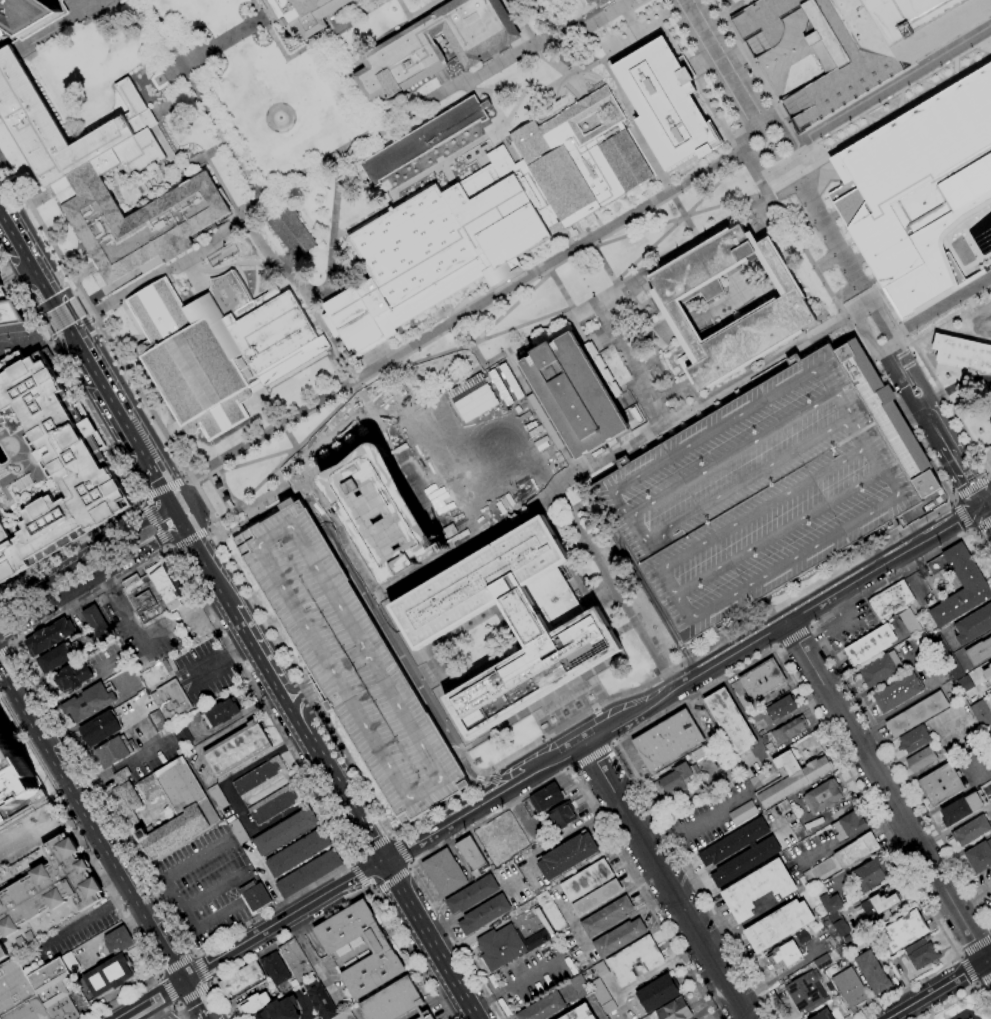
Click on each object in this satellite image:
building: (588, 1)
building: (601, 2)
road: (402, 10)
road: (425, 10)
building: (26, 14)
building: (304, 14)
building: (57, 17)
road: (81, 17)
road: (521, 21)
road: (587, 24)
road: (64, 26)
road: (665, 36)
road: (224, 40)
building: (861, 40)
building: (435, 45)
road: (305, 47)
road: (6, 53)
park: (346, 61)
road: (549, 61)
road: (719, 61)
road: (891, 85)
road: (347, 87)
road: (517, 90)
road: (197, 99)
building: (663, 100)
road: (173, 102)
road: (898, 113)
fountain: (278, 118)
road: (714, 123)
road: (632, 124)
building: (128, 127)
road: (849, 127)
building: (424, 139)
fountain: (769, 146)
road: (704, 170)
road: (308, 171)
road: (782, 182)
building: (917, 190)
road: (682, 215)
road: (678, 217)
road: (679, 219)
building: (484, 221)
building: (139, 222)
road: (826, 231)
building: (291, 232)
road: (801, 246)
road: (604, 265)
road: (14, 269)
road: (326, 279)
road: (561, 290)
road: (835, 290)
road: (852, 290)
road: (329, 291)
road: (857, 295)
road: (884, 301)
road: (942, 303)
building: (8, 311)
building: (781, 311)
road: (851, 311)
road: (66, 314)
road: (842, 314)
traffic signals: (62, 317)
road: (901, 329)
road: (853, 331)
road: (71, 333)
street lamp: (25, 334)
road: (430, 334)
street lamp: (8, 336)
road: (327, 336)
road: (21, 337)
road: (846, 337)
road: (475, 338)
road: (59, 347)
road: (886, 347)
road: (454, 348)
road: (511, 351)
building: (220, 352)
building: (962, 353)
road: (2, 354)
road: (477, 355)
road: (373, 358)
road: (632, 362)
road: (379, 369)
road: (953, 387)
road: (923, 389)
road: (834, 394)
building: (573, 395)
road: (702, 401)
road: (366, 404)
road: (947, 405)
road: (970, 406)
road: (909, 407)
road: (542, 414)
road: (324, 415)
building: (888, 417)
road: (933, 425)
road: (336, 435)
road: (866, 443)
road: (294, 447)
road: (111, 451)
road: (978, 456)
road: (255, 460)
building: (55, 465)
road: (213, 469)
road: (761, 469)
road: (962, 476)
road: (265, 477)
road: (157, 478)
road: (990, 478)
road: (188, 479)
street lamp: (775, 484)
road: (890, 484)
road: (163, 489)
road: (972, 489)
road: (225, 490)
building: (757, 493)
parking lot: (757, 493)
street lamp: (869, 494)
road: (974, 495)
flagpole: (944, 497)
road: (141, 499)
flagpole: (944, 500)
road: (141, 501)
road: (953, 501)
road: (986, 502)
traffic signals: (172, 504)
road: (972, 504)
road: (981, 504)
traffic signals: (981, 505)
road: (766, 507)
road: (236, 508)
building: (380, 512)
road: (192, 513)
road: (985, 513)
road: (963, 514)
road: (178, 517)
road: (501, 518)
flagpole: (246, 521)
road: (156, 522)
street lamp: (713, 522)
road: (981, 523)
street lamp: (813, 524)
road: (209, 527)
flagpole: (238, 527)
traffic signals: (184, 530)
road: (970, 530)
flagpole: (230, 531)
road: (780, 532)
road: (912, 534)
road: (642, 535)
road: (190, 538)
road: (217, 540)
road: (170, 546)
street lamp: (285, 547)
road: (876, 547)
road: (173, 548)
road: (146, 550)
road: (86, 554)
street lamp: (760, 555)
road: (795, 558)
road: (205, 569)
road: (614, 578)
road: (671, 580)
building: (971, 581)
street lamp: (306, 582)
building: (166, 585)
street lamp: (706, 586)
road: (800, 594)
building: (143, 597)
road: (650, 598)
building: (890, 600)
road: (54, 603)
road: (686, 606)
building: (909, 622)
building: (96, 623)
parking lot: (844, 625)
building: (973, 625)
road: (810, 627)
road: (231, 628)
road: (4, 630)
building: (564, 631)
building: (49, 636)
road: (793, 636)
road: (11, 641)
road: (729, 642)
road: (754, 642)
road: (2, 644)
road: (10, 645)
building: (870, 645)
road: (776, 646)
road: (250, 647)
road: (5, 648)
road: (1, 650)
traffic signals: (6, 652)
building: (979, 652)
road: (764, 653)
building: (55, 658)
building: (943, 661)
building: (350, 662)
parking lot: (350, 662)
parking lot: (205, 668)
road: (409, 669)
building: (879, 669)
building: (155, 673)
building: (987, 674)
building: (72, 677)
road: (843, 678)
building: (762, 680)
building: (963, 684)
road: (294, 688)
building: (897, 693)
road: (300, 696)
road: (281, 700)
building: (171, 701)
building: (89, 702)
building: (784, 706)
street lamp: (381, 708)
road: (593, 709)
building: (221, 713)
building: (982, 713)
building: (916, 715)
building: (730, 721)
building: (158, 722)
road: (601, 726)
building: (100, 728)
building: (790, 729)
building: (181, 735)
building: (667, 740)
building: (914, 740)
road: (613, 743)
street lamp: (402, 744)
building: (237, 749)
building: (705, 751)
building: (112, 752)
road: (591, 758)
building: (920, 759)
road: (126, 761)
road: (468, 761)
road: (564, 766)
road: (325, 768)
building: (816, 769)
road: (478, 773)
building: (260, 777)
road: (477, 778)
road: (493, 778)
building: (15, 779)
road: (521, 780)
building: (675, 780)
building: (782, 780)
building: (941, 784)
road: (539, 789)
road: (889, 794)
building: (822, 796)
building: (216, 797)
building: (546, 798)
building: (275, 803)
road: (93, 805)
building: (189, 807)
building: (961, 809)
building: (743, 813)
building: (561, 815)
road: (431, 819)
road: (449, 822)
road: (695, 823)
building: (848, 825)
road: (89, 828)
road: (25, 831)
parking lot: (30, 831)
building: (285, 831)
building: (971, 831)
building: (239, 832)
road: (391, 836)
traffic signals: (369, 839)
road: (371, 843)
traffic signals: (413, 844)
road: (373, 846)
road: (400, 849)
building: (855, 851)
building: (298, 852)
building: (760, 852)
building: (472, 856)
building: (567, 856)
building: (979, 856)
road: (352, 858)
road: (355, 858)
traffic signals: (383, 862)
road: (348, 863)
road: (409, 865)
road: (409, 869)
road: (172, 871)
building: (444, 873)
building: (308, 874)
building: (871, 874)
road: (356, 875)
road: (357, 875)
road: (100, 877)
traffic signals: (350, 879)
building: (586, 880)
road: (391, 881)
road: (668, 881)
parking lot: (206, 884)
road: (362, 885)
traffic signals: (359, 887)
road: (214, 889)
building: (758, 889)
building: (43, 892)
road: (373, 893)
building: (472, 894)
building: (255, 897)
building: (597, 897)
road: (973, 897)
building: (828, 902)
building: (883, 902)
building: (524, 906)
building: (552, 912)
building: (484, 914)
building: (606, 917)
road: (211, 919)
building: (778, 925)
building: (841, 927)
building: (904, 931)
road: (255, 934)
building: (831, 934)
road: (289, 935)
building: (802, 937)
building: (619, 938)
building: (534, 939)
road: (429, 940)
building: (118, 941)
road: (975, 946)
building: (500, 947)
building: (337, 951)
building: (842, 951)
road: (406, 952)
road: (306, 953)
building: (921, 953)
road: (193, 954)
building: (782, 956)
road: (959, 957)
building: (634, 959)
building: (295, 960)
building: (822, 961)
road: (176, 965)
road: (200, 969)
building: (600, 969)
road: (967, 969)
building: (276, 972)
road: (196, 973)
building: (872, 973)
road: (158, 974)
building: (108, 975)
road: (982, 976)
building: (240, 979)
road: (209, 983)
road: (975, 984)
building: (579, 985)
building: (13, 986)
building: (57, 986)
building: (850, 988)
road: (939, 988)
road: (165, 989)
building: (599, 992)
building: (806, 992)
traffic signals: (206, 993)
building: (657, 993)
road: (194, 994)
road: (960, 995)
traffic signals: (149, 997)
road: (146, 998)
road: (191, 999)
road: (221, 1001)
building: (321, 1001)
building: (392, 1001)
road: (212, 1003)
road: (173, 1004)
building: (252, 1004)
road: (176, 1005)
traffic signals: (195, 1005)
park: (962, 1005)
building: (542, 1007)
building: (609, 1007)
road: (169, 1008)
building: (28, 1010)
building: (280, 1010)
building: (419, 1010)
building: (675, 1010)
building: (578, 1013)
building: (344, 1015)
building: (425, 1015)
building: (828, 1015)
parking lot: (168, 1016)
road: (925, 1018)

